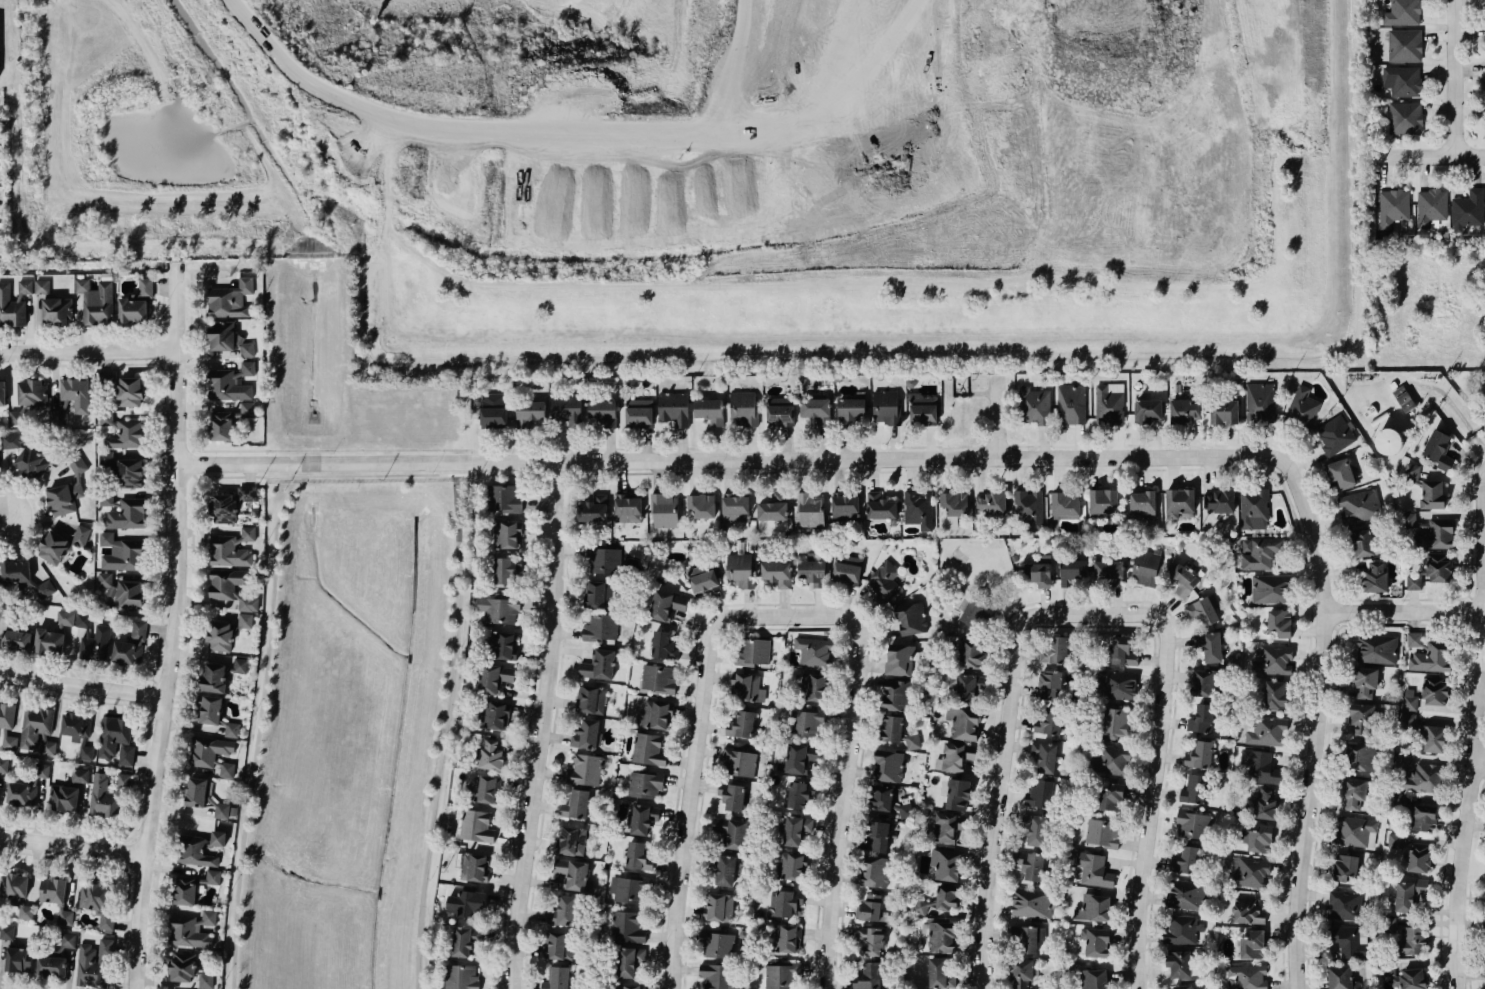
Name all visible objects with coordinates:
building: (1402, 13)
building: (1404, 45)
road: (738, 54)
road: (1455, 77)
building: (1402, 80)
building: (1404, 117)
road: (508, 131)
road: (1470, 153)
road: (1421, 154)
landfill: (724, 175)
building: (1393, 207)
building: (1468, 210)
building: (41, 286)
building: (25, 287)
building: (230, 299)
building: (96, 301)
building: (136, 303)
building: (10, 308)
building: (56, 310)
road: (157, 336)
road: (109, 337)
building: (229, 339)
road: (87, 349)
road: (159, 349)
road: (158, 361)
street lamp: (4, 362)
building: (106, 378)
building: (227, 386)
building: (32, 392)
building: (129, 392)
building: (2, 393)
building: (76, 394)
building: (1403, 398)
building: (1071, 402)
building: (1260, 402)
building: (1109, 403)
building: (885, 406)
building: (1033, 406)
building: (566, 407)
building: (1302, 407)
building: (674, 408)
building: (922, 408)
building: (743, 409)
building: (816, 409)
building: (851, 409)
building: (780, 410)
building: (1147, 410)
building: (710, 411)
building: (1185, 411)
building: (530, 412)
building: (603, 412)
building: (639, 412)
building: (1224, 412)
building: (493, 413)
road: (997, 416)
building: (15, 418)
building: (58, 418)
building: (228, 421)
building: (127, 435)
building: (1335, 435)
building: (1388, 441)
building: (1437, 445)
road: (191, 449)
road: (476, 449)
building: (24, 456)
road: (695, 458)
building: (106, 459)
road: (190, 462)
street lamp: (430, 470)
road: (925, 470)
building: (130, 473)
building: (1410, 473)
road: (353, 474)
building: (1341, 474)
road: (194, 475)
road: (373, 486)
street lamp: (168, 487)
building: (68, 488)
street lamp: (282, 488)
building: (247, 494)
building: (1432, 494)
building: (502, 497)
building: (107, 500)
building: (1104, 501)
building: (1219, 501)
building: (1179, 502)
building: (992, 503)
building: (1066, 504)
building: (701, 505)
building: (1142, 505)
building: (880, 506)
building: (1359, 506)
building: (845, 507)
building: (954, 507)
building: (223, 508)
building: (627, 508)
building: (774, 508)
building: (1029, 508)
building: (593, 509)
building: (735, 509)
building: (918, 509)
building: (1254, 509)
road: (1, 510)
building: (664, 510)
building: (810, 510)
road: (34, 513)
building: (127, 514)
road: (163, 516)
road: (1320, 517)
building: (1429, 532)
building: (248, 533)
building: (505, 534)
building: (81, 535)
street lamp: (266, 542)
building: (1361, 542)
building: (53, 548)
building: (228, 552)
building: (121, 553)
building: (1259, 553)
park: (958, 557)
building: (603, 559)
building: (1438, 568)
building: (741, 570)
building: (847, 570)
building: (1072, 570)
building: (505, 571)
building: (1041, 571)
building: (1110, 571)
building: (812, 572)
building: (777, 573)
park: (984, 573)
building: (1162, 573)
building: (24, 578)
building: (703, 578)
building: (1376, 578)
building: (884, 582)
building: (1414, 582)
building: (107, 583)
building: (233, 588)
building: (1270, 589)
building: (597, 594)
building: (130, 595)
road: (1468, 595)
road: (1334, 596)
road: (1477, 596)
road: (1089, 599)
road: (783, 603)
building: (666, 605)
road: (1405, 608)
building: (500, 609)
road: (1467, 609)
building: (974, 610)
road: (1333, 611)
building: (1202, 612)
building: (65, 618)
building: (911, 619)
building: (245, 620)
building: (83, 621)
road: (1475, 621)
building: (1280, 623)
road: (1399, 623)
road: (1462, 624)
road: (1089, 625)
road: (1335, 626)
road: (173, 627)
road: (783, 627)
street lamp: (261, 628)
building: (600, 628)
street lamp: (540, 635)
building: (219, 637)
building: (16, 640)
building: (48, 641)
building: (96, 644)
building: (499, 645)
building: (664, 645)
building: (131, 646)
street lamp: (459, 646)
building: (1210, 646)
building: (1377, 648)
building: (1055, 650)
building: (814, 651)
building: (1122, 651)
building: (752, 652)
building: (971, 653)
building: (1428, 653)
building: (899, 659)
building: (1273, 660)
building: (240, 665)
building: (598, 665)
building: (213, 677)
building: (493, 678)
building: (658, 678)
road: (151, 679)
street lamp: (177, 681)
building: (1365, 682)
building: (1203, 683)
road: (83, 684)
building: (1049, 684)
road: (1324, 684)
building: (1116, 685)
building: (746, 686)
building: (815, 686)
building: (969, 686)
building: (1435, 690)
road: (151, 695)
building: (896, 695)
building: (1275, 695)
street lamp: (100, 698)
building: (1409, 699)
building: (592, 700)
street lamp: (453, 705)
building: (210, 709)
road: (147, 710)
road: (529, 710)
building: (494, 714)
building: (655, 714)
building: (7, 715)
street lamp: (252, 716)
building: (1202, 719)
building: (1362, 719)
road: (259, 720)
building: (1048, 722)
building: (1115, 722)
road: (174, 723)
building: (807, 723)
building: (964, 723)
road: (442, 724)
road: (546, 724)
building: (742, 724)
building: (76, 727)
building: (231, 729)
road: (1477, 729)
building: (37, 730)
building: (896, 732)
building: (1267, 732)
building: (1425, 733)
park: (347, 735)
building: (586, 735)
street lamp: (529, 737)
building: (116, 740)
building: (8, 741)
road: (1484, 749)
building: (209, 750)
building: (648, 750)
building: (86, 752)
building: (491, 754)
building: (1044, 756)
building: (1199, 756)
building: (1360, 756)
building: (955, 757)
building: (801, 758)
building: (1110, 759)
street lamp: (445, 760)
building: (738, 762)
road: (1480, 762)
road: (1484, 763)
building: (3, 765)
road: (140, 766)
building: (888, 766)
building: (1260, 766)
road: (1008, 768)
building: (42, 770)
building: (227, 770)
building: (584, 770)
road: (699, 770)
road: (1159, 771)
road: (852, 772)
building: (1417, 774)
building: (79, 776)
road: (1484, 777)
building: (645, 784)
building: (484, 787)
building: (1194, 790)
building: (196, 792)
building: (20, 793)
building: (107, 793)
building: (800, 793)
building: (957, 794)
building: (1353, 794)
building: (1040, 795)
building: (734, 796)
building: (881, 797)
building: (64, 798)
building: (1110, 798)
building: (1399, 800)
street lamp: (240, 803)
building: (576, 805)
building: (1265, 805)
building: (900, 809)
building: (221, 811)
street lamp: (437, 818)
building: (1423, 818)
building: (643, 819)
building: (475, 825)
building: (1191, 825)
building: (945, 828)
building: (796, 830)
building: (1036, 830)
building: (1354, 831)
building: (732, 832)
building: (1102, 833)
building: (877, 836)
road: (132, 837)
building: (218, 838)
building: (1260, 839)
building: (572, 840)
building: (1394, 840)
road: (70, 848)
street lamp: (535, 849)
road: (130, 851)
building: (194, 851)
building: (638, 856)
building: (1418, 858)
building: (1185, 860)
building: (946, 864)
building: (1031, 864)
building: (472, 865)
building: (791, 866)
road: (121, 867)
road: (125, 867)
building: (1346, 867)
building: (1093, 869)
building: (727, 870)
building: (874, 871)
building: (1250, 873)
building: (573, 874)
street lamp: (429, 876)
building: (213, 877)
road: (1469, 886)
building: (183, 889)
building: (625, 889)
building: (16, 893)
building: (1186, 894)
building: (1408, 894)
street lamp: (230, 895)
building: (56, 897)
building: (947, 897)
building: (466, 902)
building: (787, 902)
building: (1031, 903)
building: (97, 904)
building: (1344, 905)
building: (921, 906)
building: (719, 907)
building: (1093, 908)
building: (872, 909)
building: (563, 911)
building: (1247, 911)
building: (626, 927)
building: (192, 929)
building: (1181, 930)
building: (6, 932)
building: (940, 936)
building: (786, 938)
building: (1027, 938)
building: (68, 940)
building: (464, 940)
building: (870, 940)
building: (1349, 941)
building: (1412, 941)
building: (1097, 942)
street lamp: (145, 943)
building: (716, 944)
building: (558, 945)
building: (1252, 945)
building: (60, 951)
street lamp: (523, 958)
building: (19, 959)
building: (628, 961)
building: (93, 962)
building: (1179, 964)
building: (52, 966)
building: (182, 967)
building: (1387, 970)
building: (937, 972)
building: (716, 976)
building: (869, 976)
building: (1346, 976)
building: (461, 977)
building: (778, 977)
building: (1247, 977)
street lamp: (224, 978)
building: (557, 978)
building: (1412, 978)
building: (1094, 979)
building: (205, 980)
building: (628, 986)
road: (10, 987)
building: (1183, 987)

